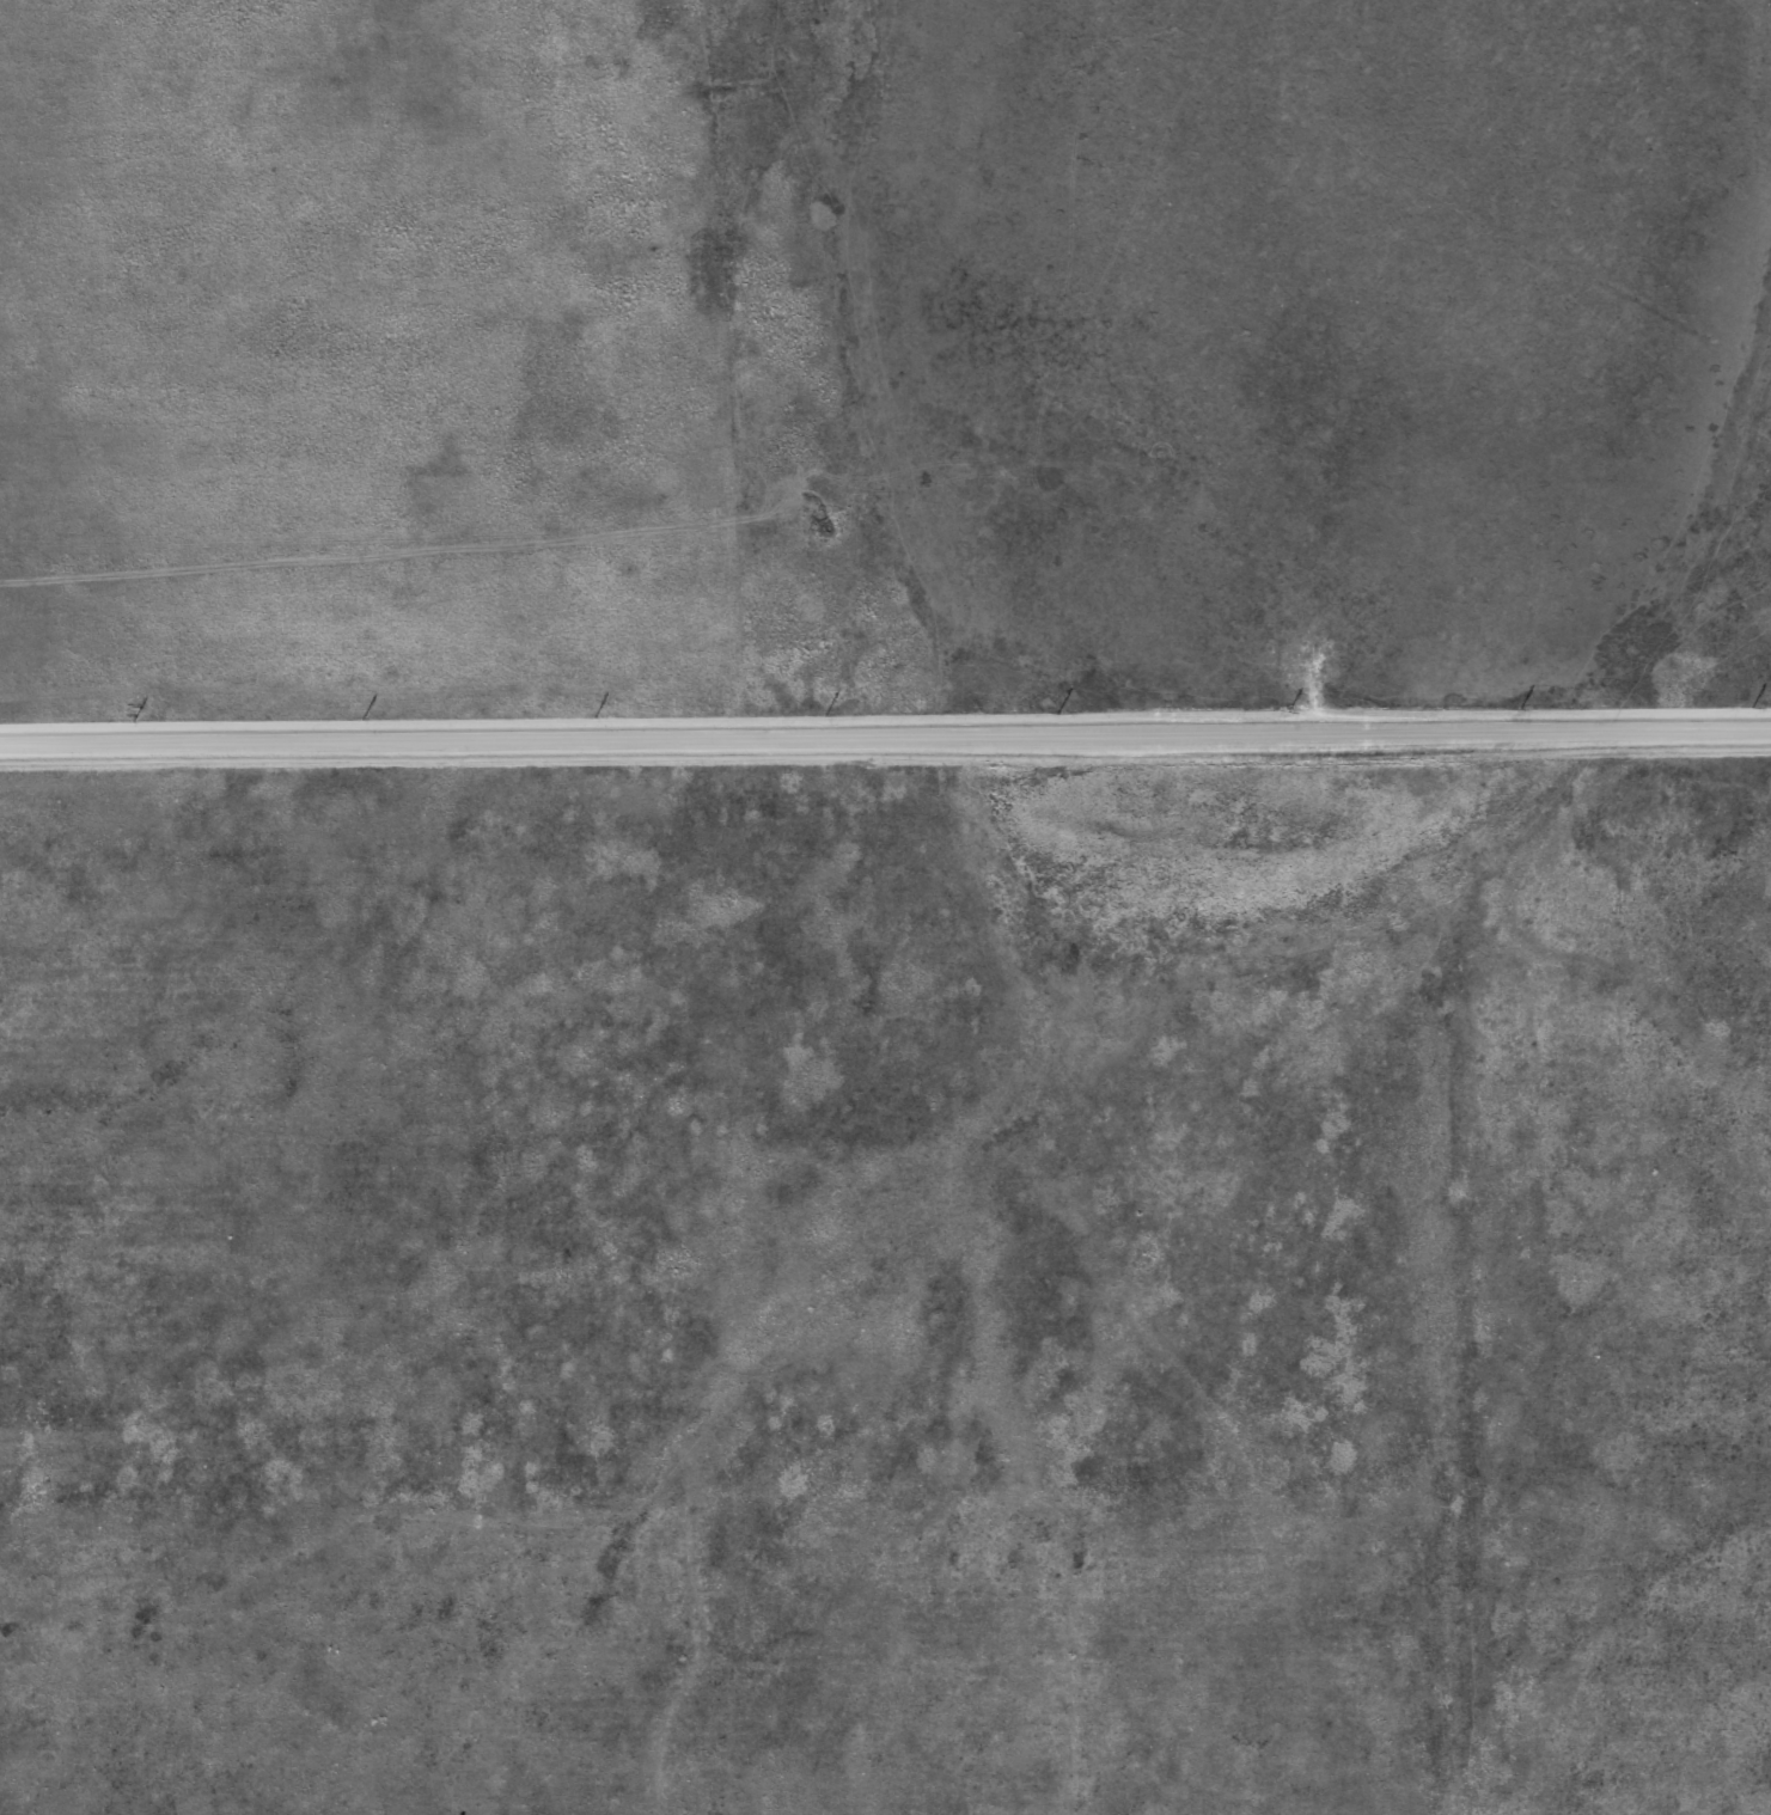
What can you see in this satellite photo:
road: (885, 777)

